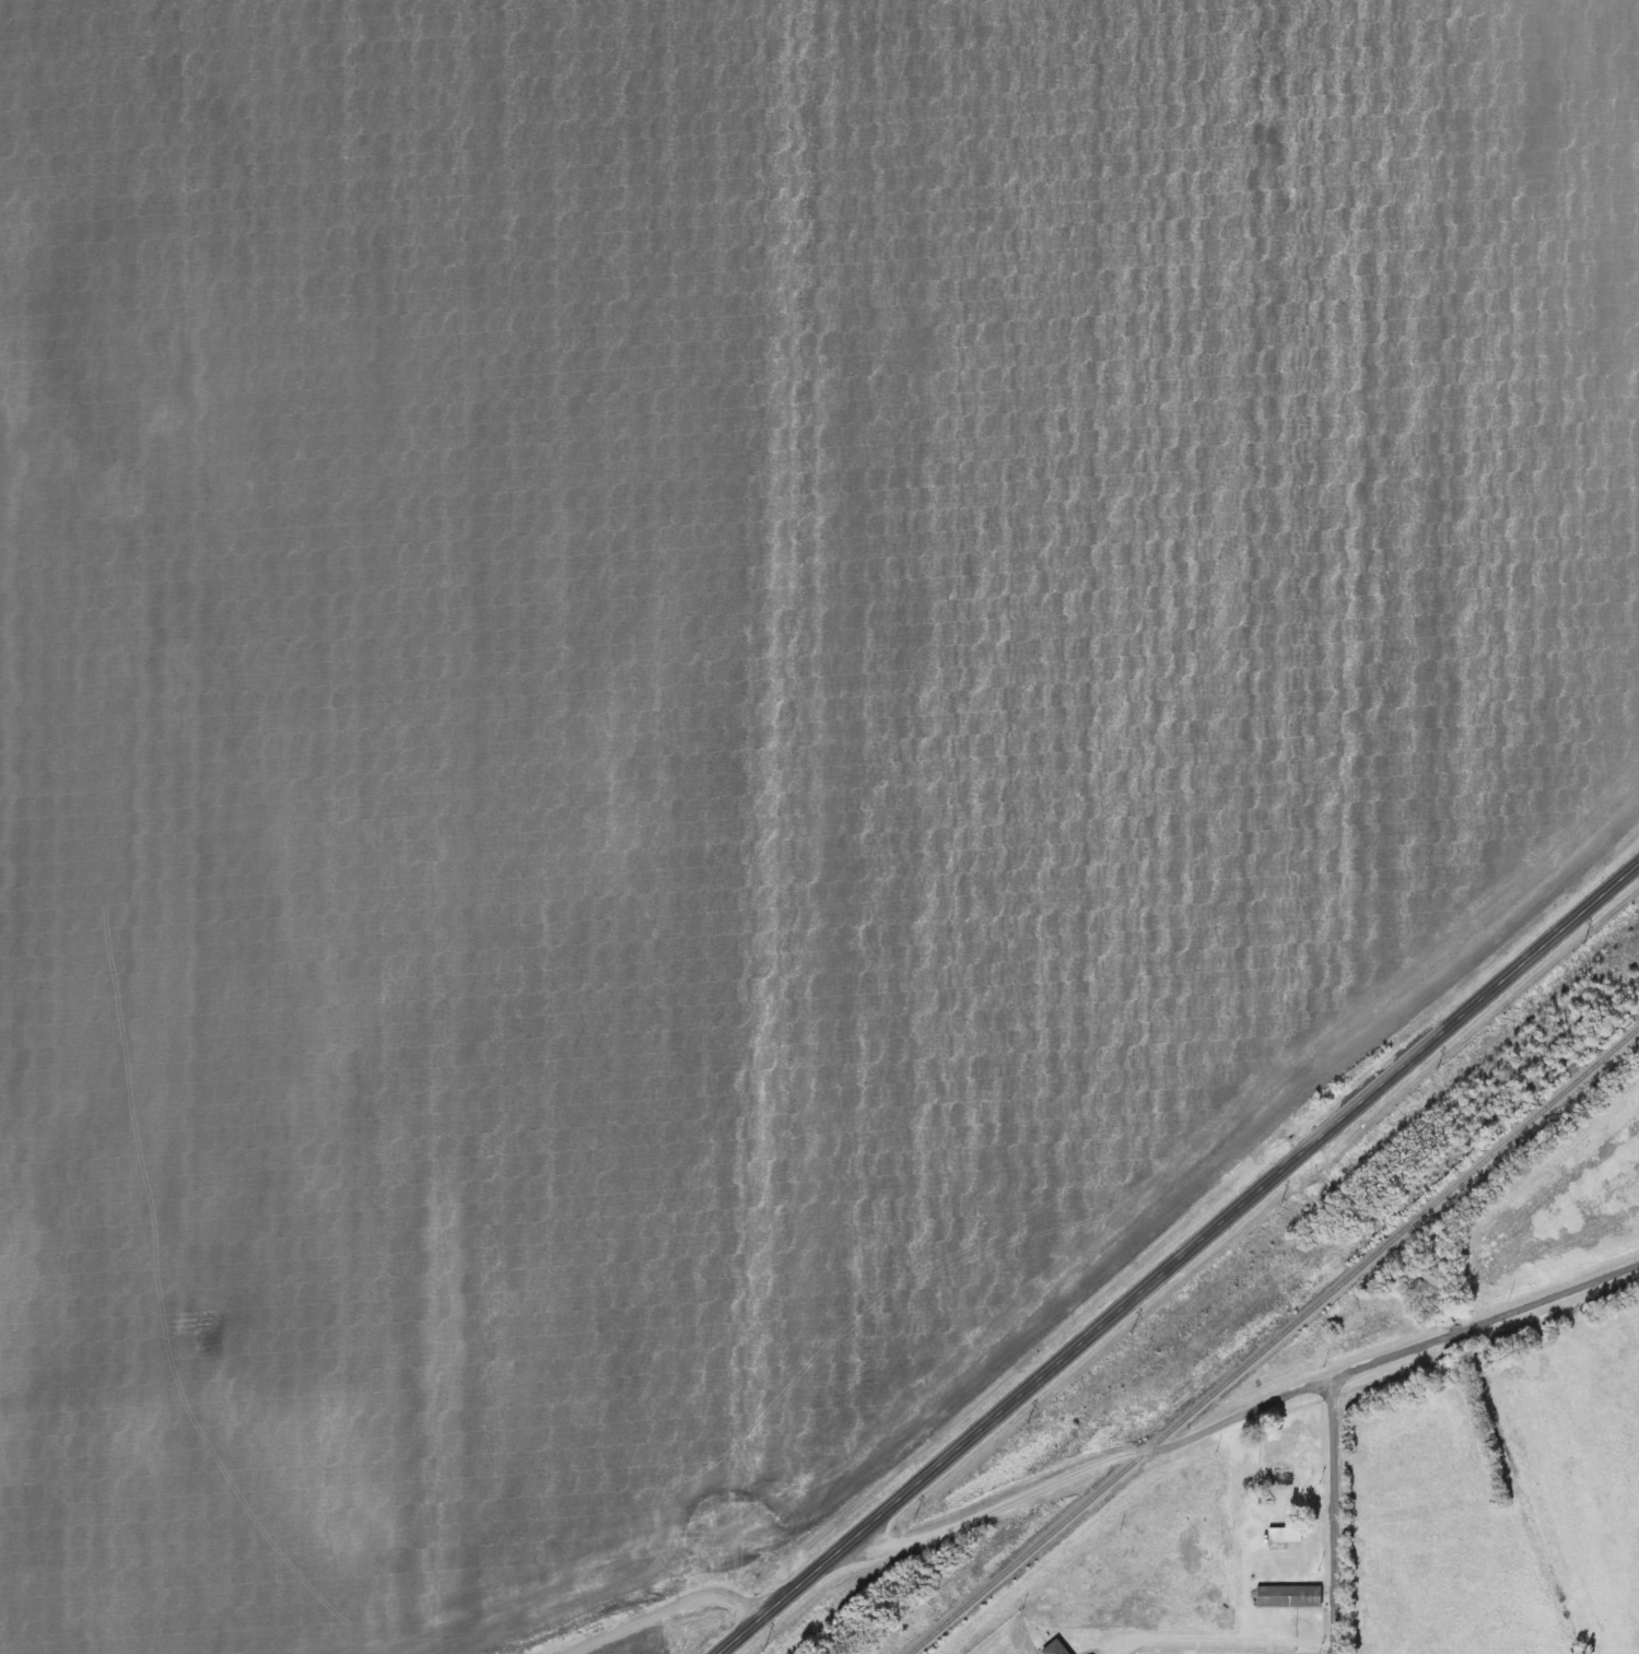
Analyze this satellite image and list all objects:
road: (1180, 1259)
railway: (1274, 1339)
road: (1244, 1416)
building: (1287, 1478)
road: (1328, 1517)
building: (1284, 1536)
building: (1287, 1598)
road: (655, 1610)
road: (1222, 1645)
building: (1052, 1649)

